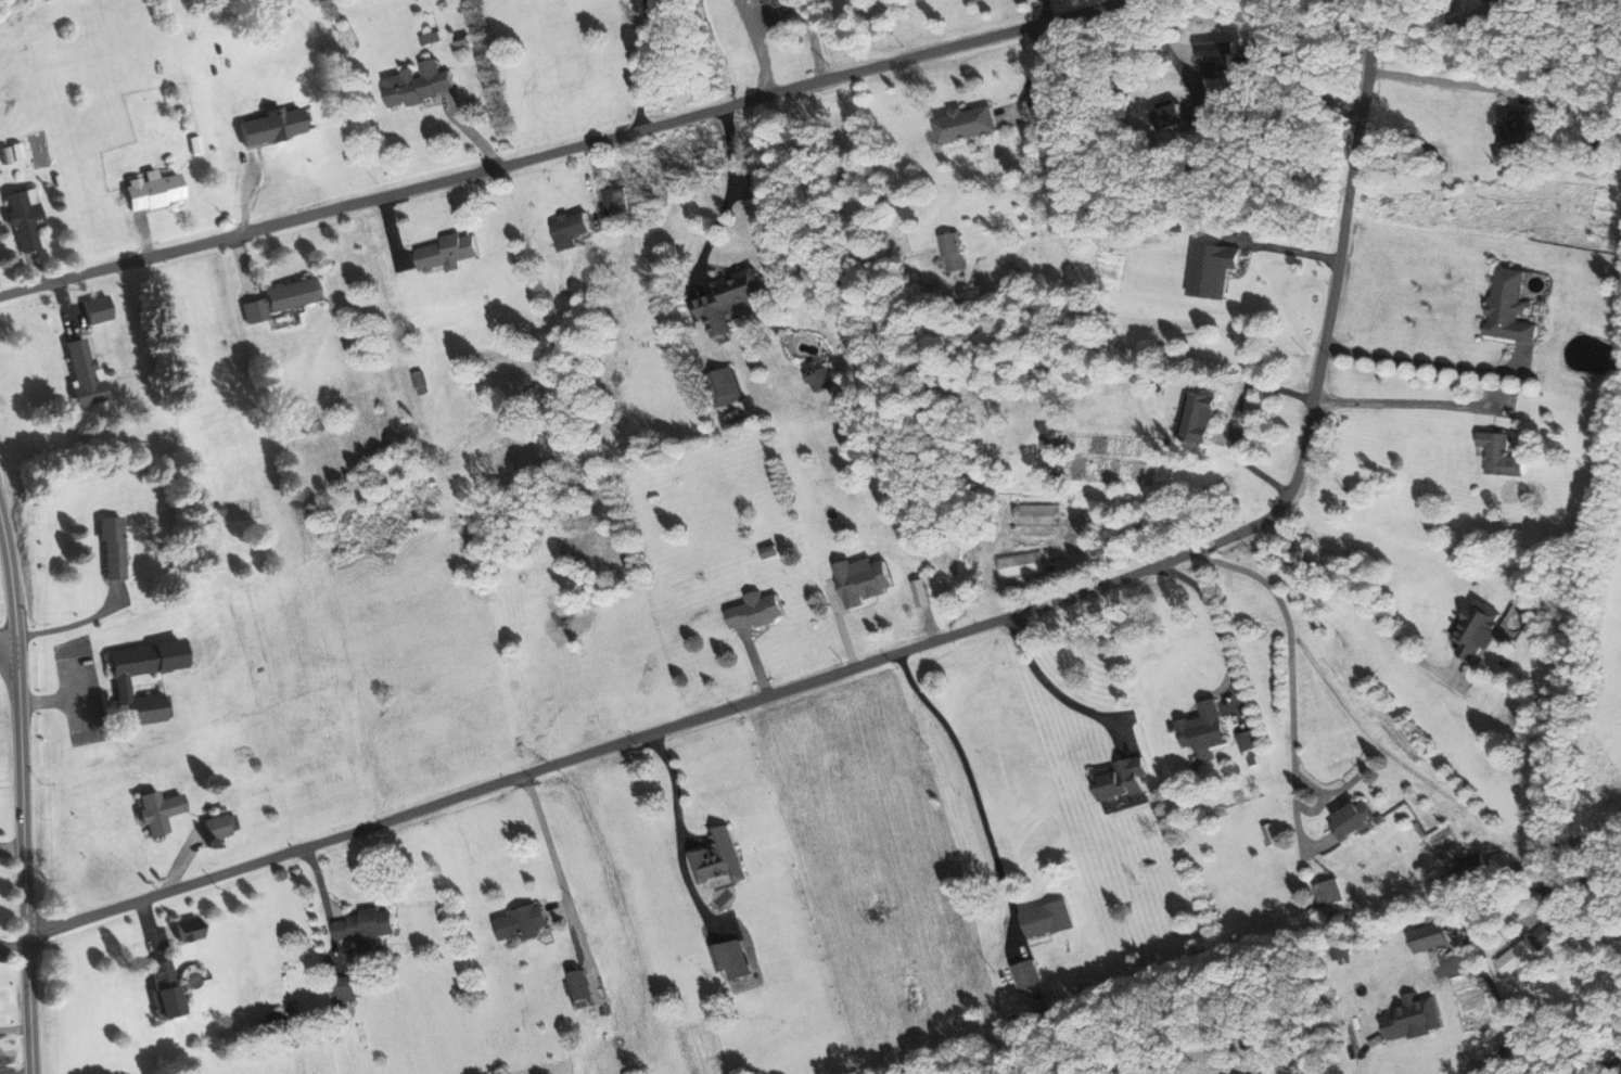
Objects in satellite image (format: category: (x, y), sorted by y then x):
building: (1490, 0)
building: (774, 1)
road: (1048, 12)
building: (418, 85)
building: (1179, 116)
building: (966, 124)
building: (269, 127)
building: (1515, 138)
road: (574, 145)
building: (152, 191)
building: (616, 200)
building: (23, 219)
building: (571, 229)
road: (1285, 250)
building: (449, 251)
building: (955, 252)
building: (1212, 269)
building: (278, 298)
building: (729, 301)
building: (1509, 307)
road: (1422, 361)
building: (80, 372)
building: (818, 378)
building: (727, 386)
road: (1402, 402)
building: (1204, 417)
building: (1502, 453)
building: (111, 548)
building: (756, 611)
road: (1218, 621)
building: (1478, 630)
road: (5, 632)
road: (903, 647)
building: (120, 683)
road: (9, 689)
road: (1056, 689)
building: (1207, 727)
building: (1248, 741)
building: (1124, 778)
building: (1601, 788)
road: (20, 809)
building: (156, 810)
building: (1350, 820)
building: (217, 823)
building: (720, 858)
building: (1330, 891)
building: (1049, 919)
building: (523, 923)
building: (365, 926)
building: (1432, 936)
building: (1530, 945)
building: (739, 964)
building: (1028, 975)
building: (163, 984)
building: (343, 987)
building: (577, 987)
building: (1413, 1018)
road: (1592, 1043)
road: (14, 1072)

